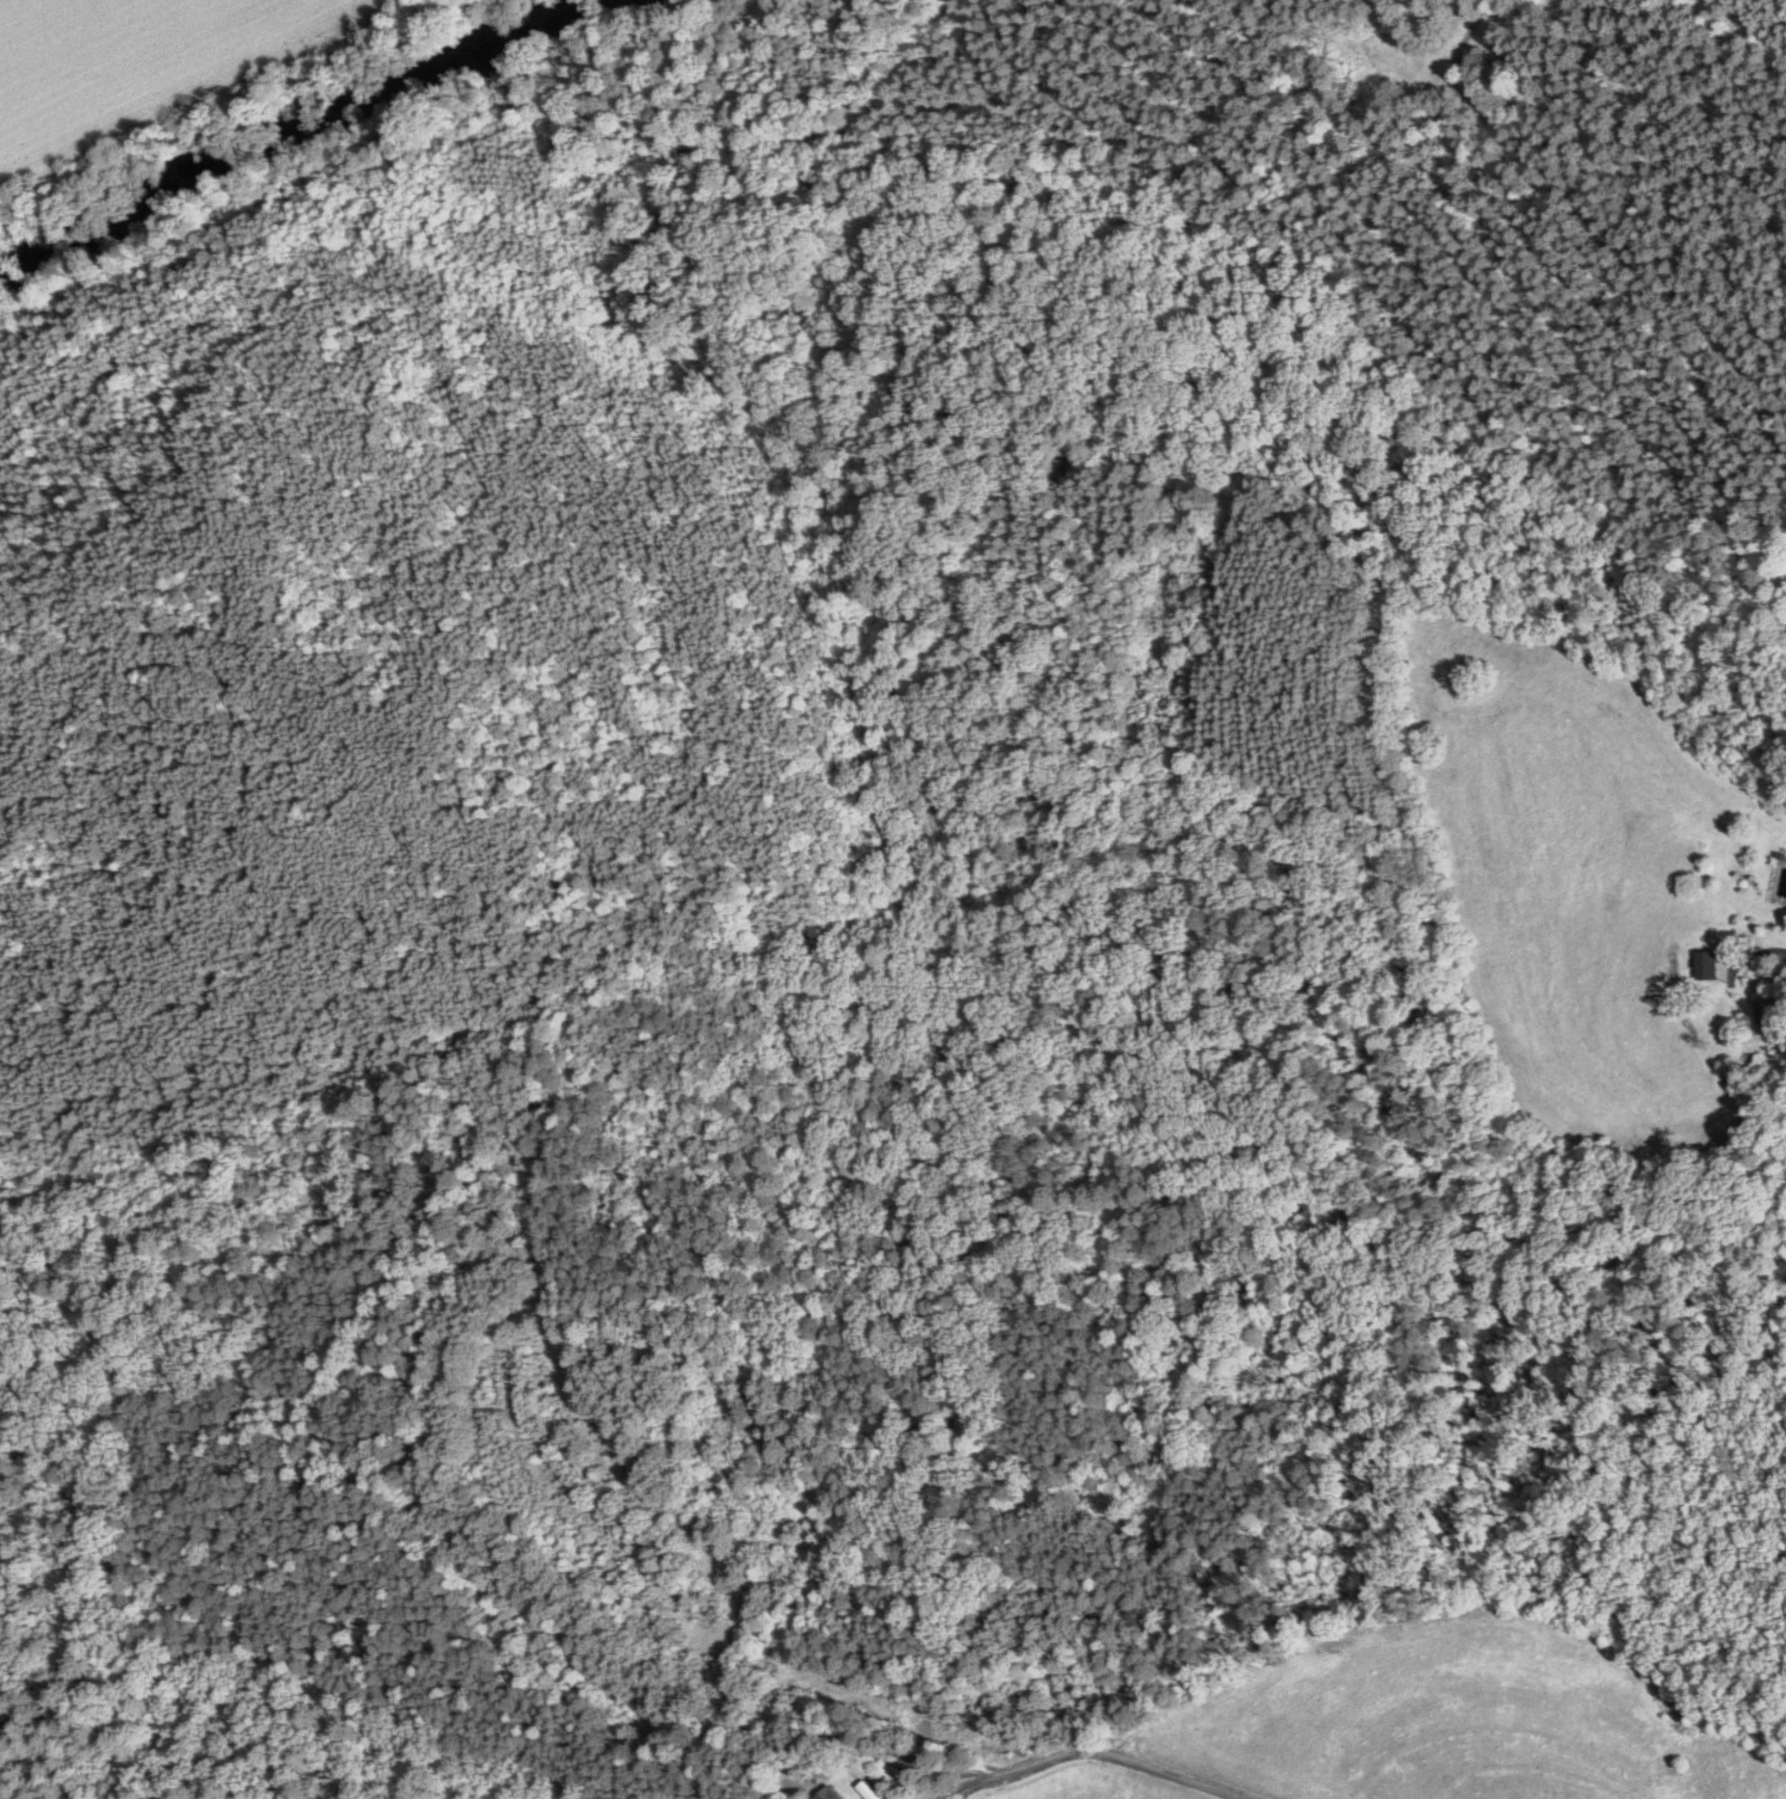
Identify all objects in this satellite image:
river: (319, 131)
road: (1584, 214)
building: (1772, 1016)
road: (1104, 1750)
building: (867, 1791)
building: (826, 1793)

